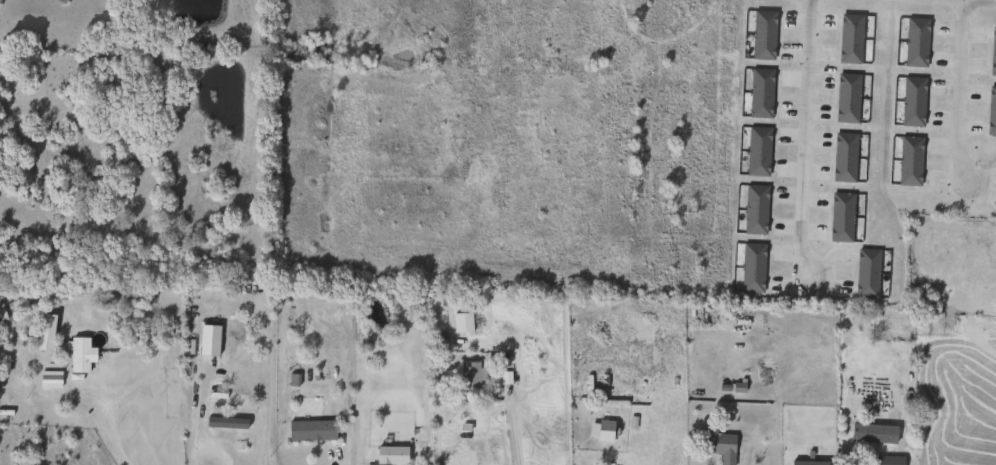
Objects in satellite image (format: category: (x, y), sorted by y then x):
road: (972, 1)
building: (761, 35)
building: (848, 39)
building: (914, 42)
building: (992, 52)
road: (956, 92)
building: (758, 94)
building: (845, 98)
building: (911, 102)
building: (990, 111)
road: (344, 125)
road: (500, 130)
road: (644, 134)
road: (800, 138)
building: (756, 152)
building: (842, 157)
building: (907, 161)
building: (753, 210)
building: (839, 218)
building: (750, 268)
building: (865, 274)
building: (918, 305)
building: (460, 323)
building: (76, 356)
building: (468, 376)
building: (47, 380)
road: (118, 394)
building: (224, 401)
building: (309, 431)
building: (871, 434)
road: (651, 438)
road: (204, 440)
road: (513, 440)
building: (717, 445)
building: (390, 456)
building: (808, 459)
building: (886, 461)

